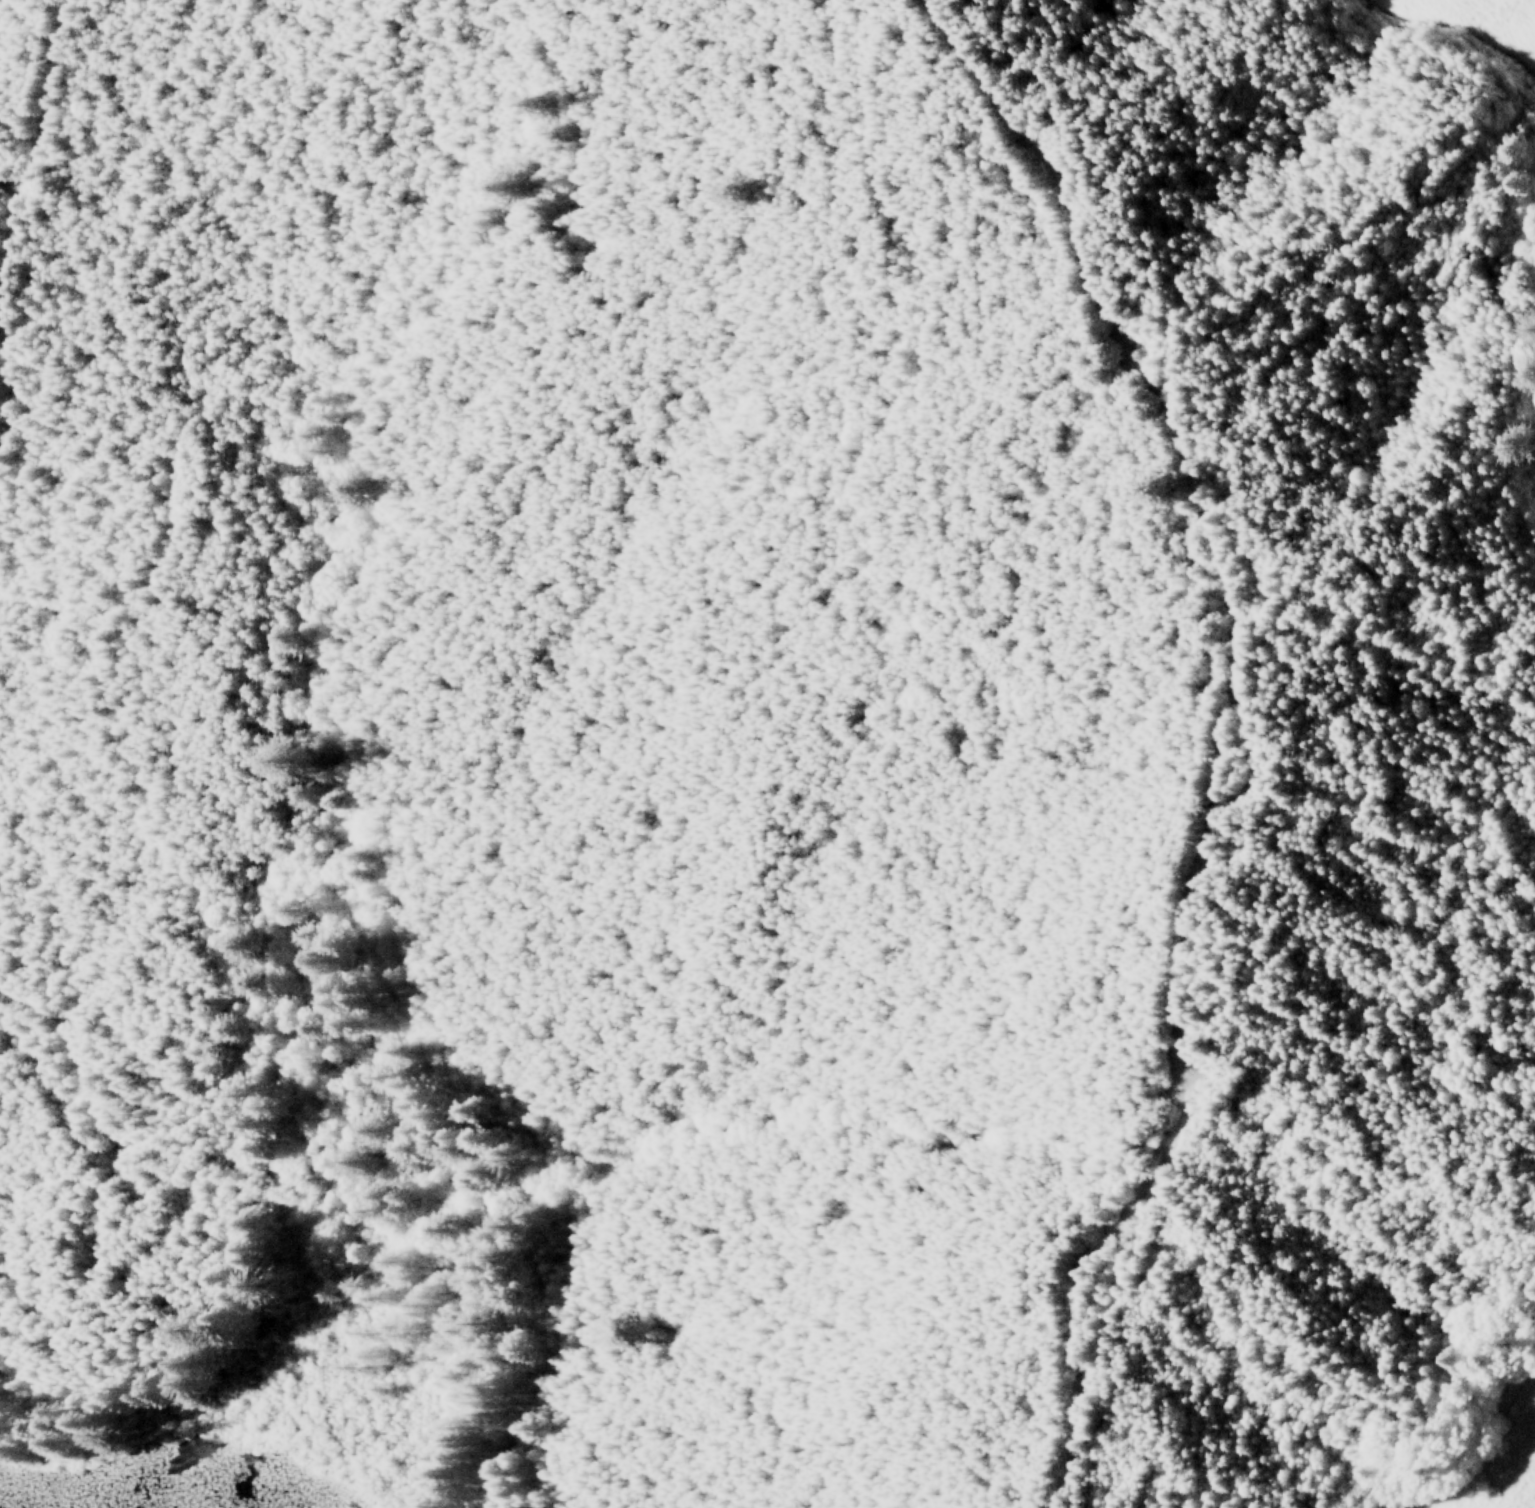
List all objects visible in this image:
road: (34, 140)

